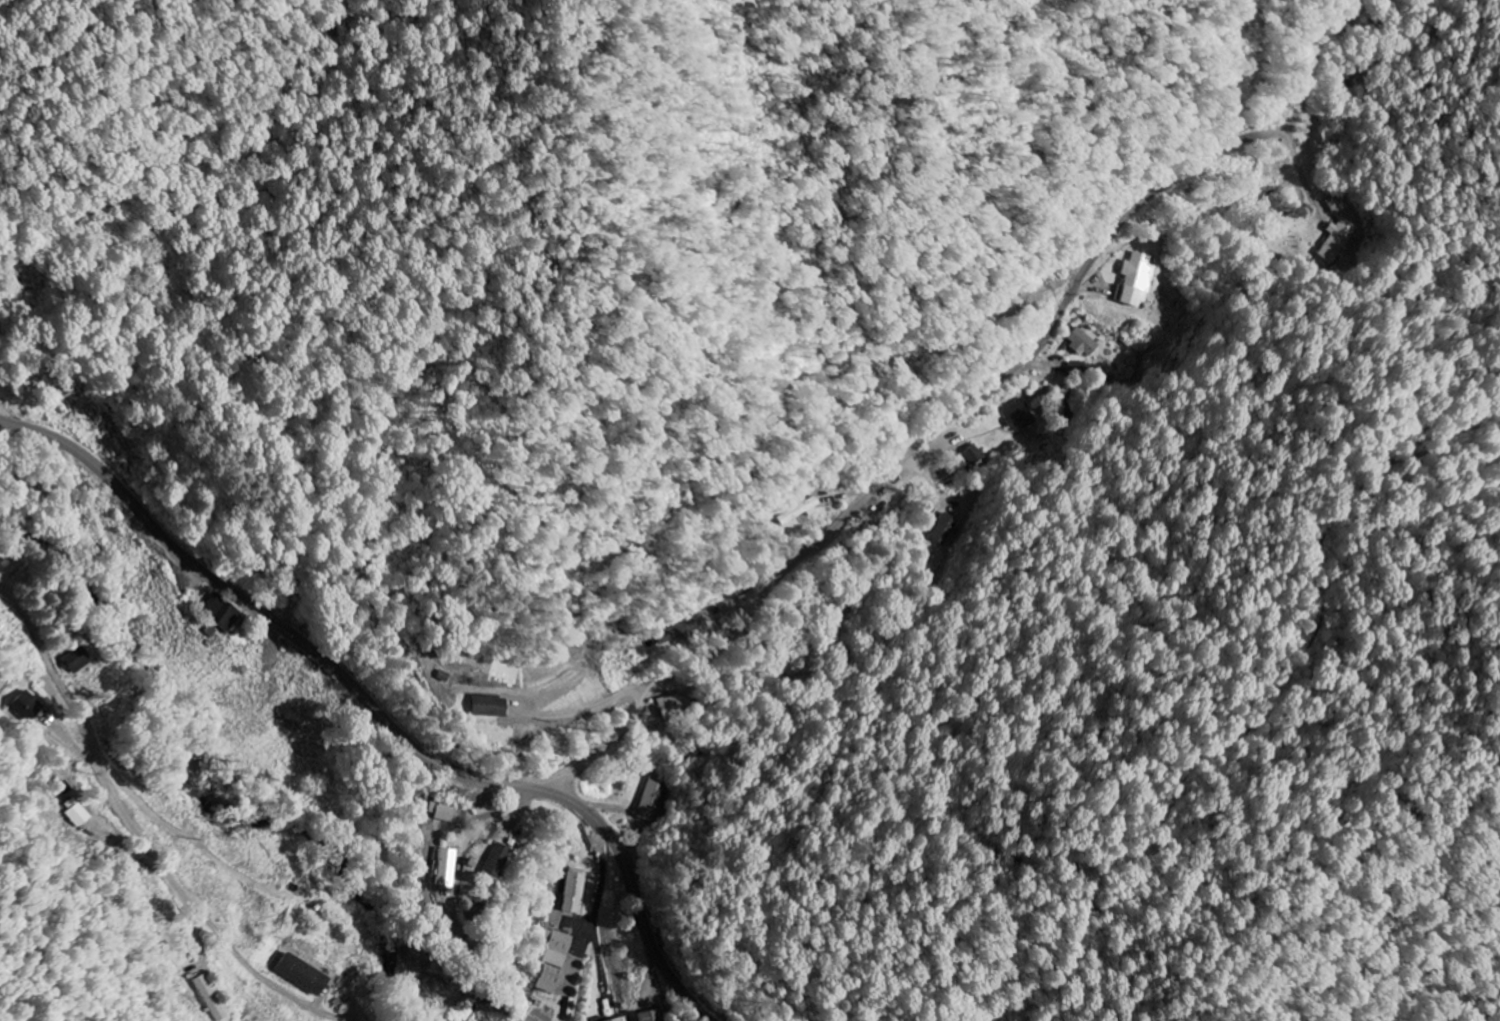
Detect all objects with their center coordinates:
building: (1332, 206)
building: (1335, 241)
building: (1132, 280)
road: (1114, 293)
building: (1081, 344)
road: (971, 396)
building: (1017, 416)
building: (967, 459)
building: (942, 530)
building: (225, 611)
building: (80, 660)
building: (26, 707)
building: (484, 707)
road: (378, 711)
road: (339, 727)
building: (649, 799)
building: (440, 812)
building: (78, 813)
road: (601, 833)
road: (142, 837)
building: (491, 862)
building: (444, 869)
building: (570, 891)
road: (602, 900)
building: (554, 948)
building: (306, 975)
road: (656, 979)
building: (545, 980)
building: (647, 1016)
building: (617, 1020)

